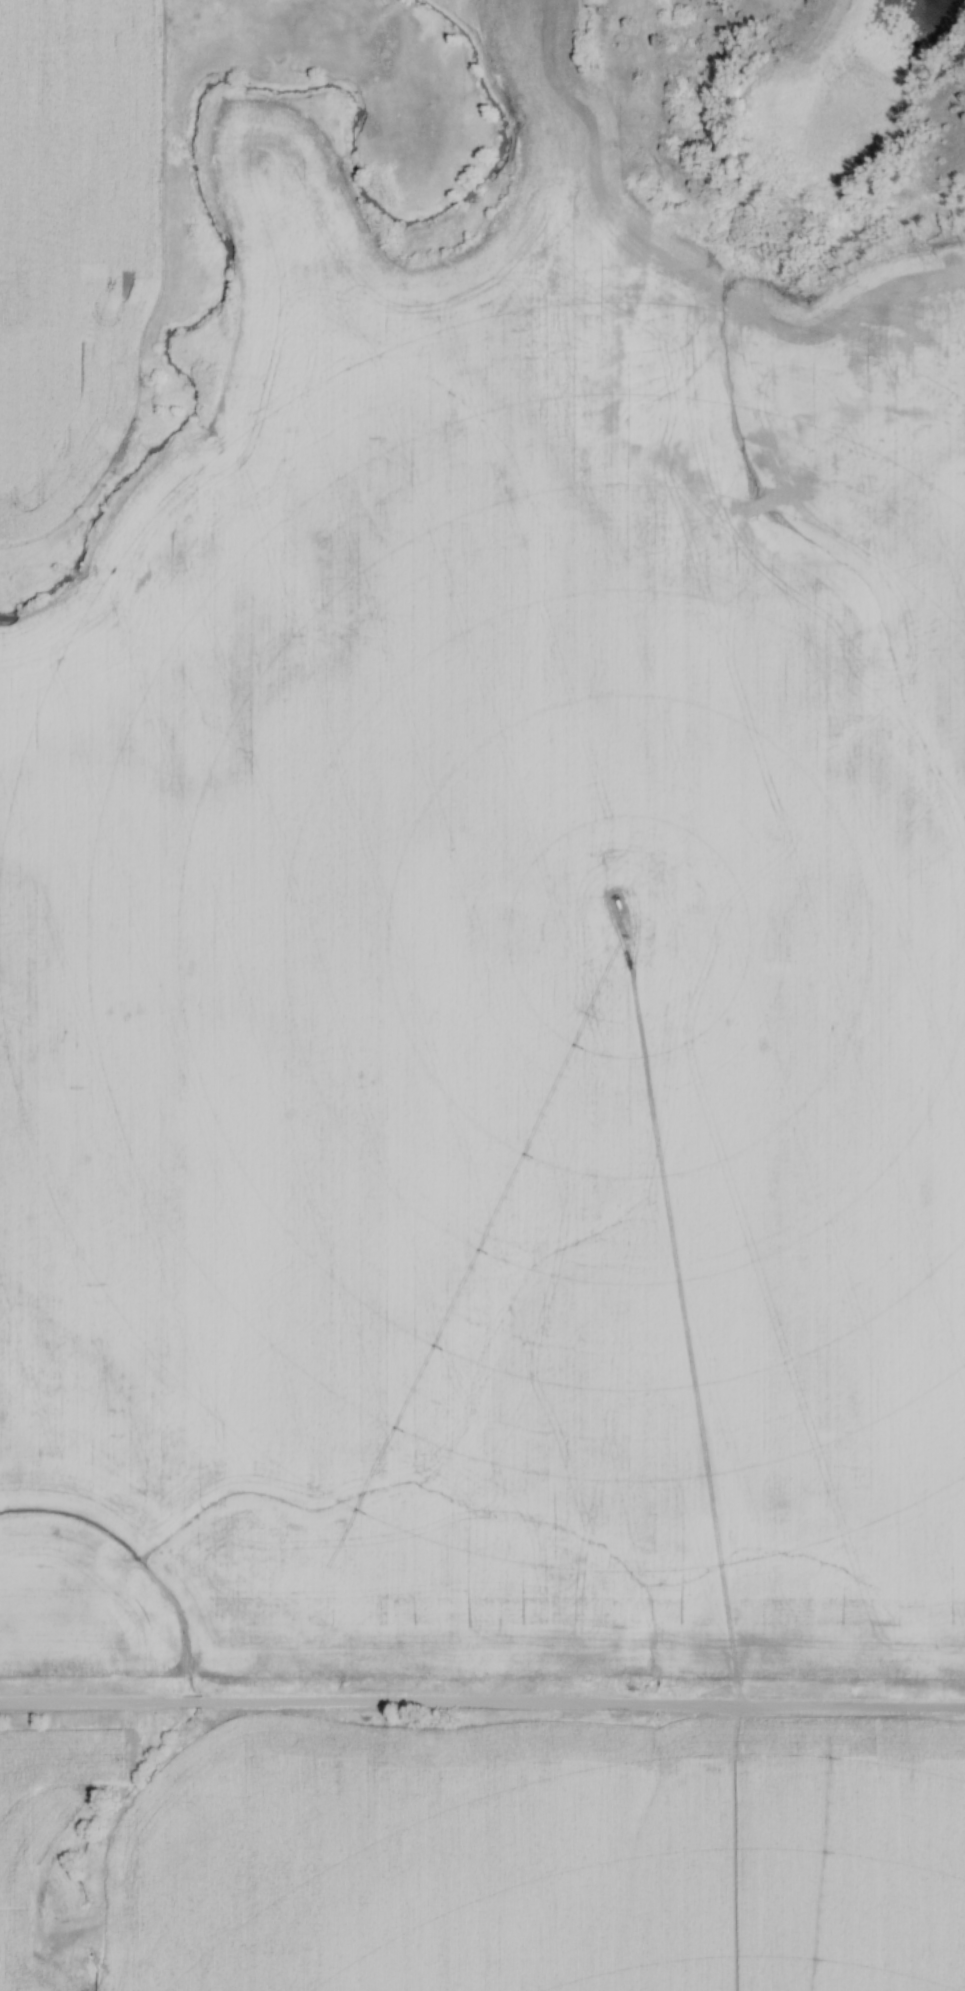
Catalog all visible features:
road: (482, 1690)

